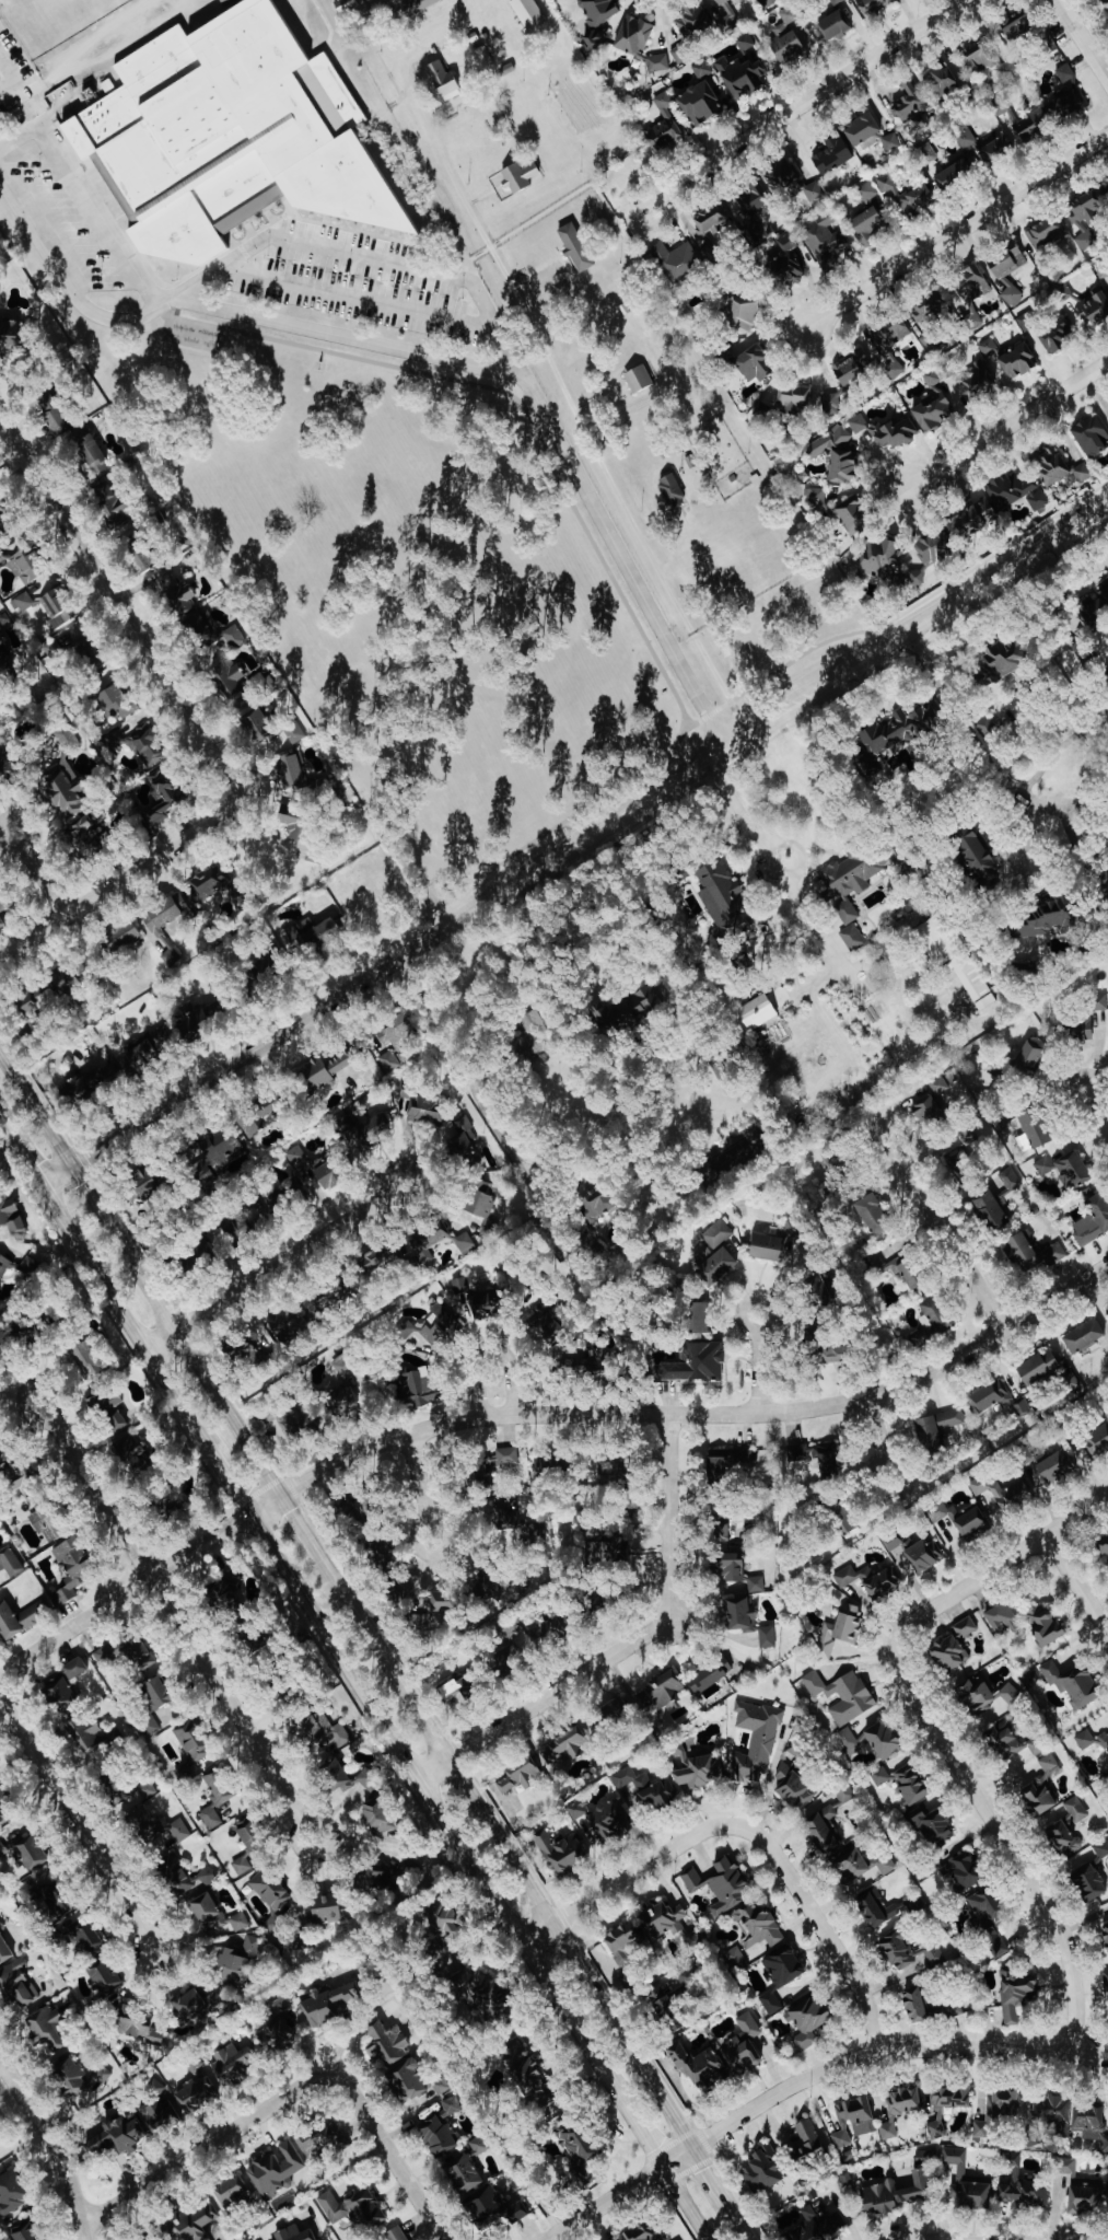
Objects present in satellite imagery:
building: (225, 1)
building: (837, 2)
building: (1106, 2)
building: (345, 4)
building: (873, 5)
building: (416, 7)
building: (529, 13)
building: (724, 14)
building: (789, 15)
building: (597, 18)
building: (693, 20)
building: (1018, 25)
building: (835, 26)
building: (634, 36)
road: (1082, 40)
building: (791, 42)
building: (746, 43)
building: (980, 56)
building: (658, 62)
building: (702, 69)
road: (12, 76)
building: (743, 77)
building: (942, 80)
building: (444, 81)
building: (910, 102)
building: (702, 103)
building: (1069, 104)
road: (794, 108)
building: (1034, 125)
building: (664, 126)
building: (863, 128)
building: (226, 136)
building: (966, 137)
building: (891, 142)
building: (998, 150)
building: (925, 152)
building: (833, 155)
building: (956, 175)
building: (521, 176)
building: (783, 178)
building: (888, 187)
building: (1106, 188)
building: (814, 191)
building: (868, 191)
road: (85, 194)
building: (917, 199)
building: (751, 204)
building: (1086, 217)
building: (712, 221)
building: (868, 227)
road: (957, 231)
building: (1046, 233)
building: (826, 240)
building: (576, 247)
road: (365, 257)
building: (676, 262)
building: (798, 267)
building: (1007, 282)
building: (971, 294)
road: (358, 298)
building: (931, 310)
building: (1095, 310)
building: (743, 315)
building: (1027, 321)
crop: (602, 325)
building: (12, 337)
building: (1058, 337)
building: (931, 339)
building: (891, 346)
building: (989, 348)
road: (429, 356)
building: (1018, 361)
building: (755, 364)
building: (639, 379)
building: (975, 384)
building: (794, 398)
building: (832, 403)
building: (934, 404)
building: (57, 420)
road: (1007, 425)
building: (884, 432)
building: (1092, 436)
road: (591, 438)
building: (93, 455)
building: (840, 455)
building: (1059, 466)
building: (672, 489)
building: (1017, 492)
building: (818, 501)
building: (113, 507)
building: (853, 517)
building: (4, 520)
building: (973, 520)
building: (935, 547)
building: (144, 559)
building: (884, 560)
building: (30, 565)
road: (1072, 565)
building: (917, 578)
building: (179, 594)
building: (23, 602)
road: (118, 607)
building: (1096, 607)
building: (57, 608)
building: (5, 653)
building: (91, 655)
building: (1007, 659)
building: (229, 677)
building: (264, 683)
building: (116, 703)
building: (258, 723)
building: (987, 728)
building: (906, 730)
building: (294, 732)
road: (968, 736)
building: (67, 739)
building: (147, 746)
road: (1054, 752)
building: (8, 770)
building: (292, 770)
building: (315, 788)
building: (66, 790)
building: (163, 798)
road: (1083, 804)
road: (1026, 809)
road: (1064, 823)
building: (300, 835)
building: (88, 838)
road: (755, 838)
road: (574, 843)
road: (798, 848)
road: (1015, 850)
building: (978, 855)
road: (40, 873)
road: (750, 879)
road: (118, 880)
building: (850, 881)
building: (209, 883)
road: (1013, 884)
road: (1024, 889)
building: (723, 898)
building: (2, 908)
building: (1046, 921)
building: (166, 925)
road: (825, 925)
road: (777, 932)
building: (314, 933)
building: (124, 937)
building: (853, 938)
road: (825, 945)
building: (955, 962)
road: (871, 968)
road: (918, 972)
road: (913, 980)
building: (68, 984)
building: (36, 1003)
building: (203, 1009)
building: (758, 1012)
building: (82, 1015)
building: (1095, 1019)
building: (536, 1032)
building: (394, 1035)
building: (164, 1036)
building: (1031, 1053)
building: (140, 1057)
building: (390, 1061)
building: (327, 1068)
building: (94, 1082)
building: (940, 1086)
road: (474, 1092)
building: (269, 1106)
building: (424, 1106)
building: (928, 1110)
road: (1095, 1112)
building: (249, 1123)
building: (364, 1131)
building: (1034, 1131)
building: (459, 1135)
building: (217, 1151)
road: (20, 1152)
building: (836, 1162)
building: (319, 1168)
building: (963, 1170)
building: (1066, 1170)
building: (1011, 1177)
building: (143, 1184)
building: (485, 1198)
building: (599, 1203)
building: (991, 1210)
building: (10, 1215)
building: (877, 1219)
building: (1093, 1221)
road: (936, 1226)
building: (237, 1227)
building: (488, 1227)
building: (792, 1230)
building: (719, 1233)
building: (465, 1243)
building: (423, 1245)
building: (769, 1247)
building: (1036, 1252)
building: (381, 1256)
building: (2, 1262)
road: (276, 1264)
building: (30, 1265)
building: (718, 1267)
building: (899, 1268)
road: (142, 1270)
building: (335, 1293)
building: (481, 1297)
road: (760, 1298)
building: (937, 1311)
building: (697, 1318)
road: (125, 1319)
building: (544, 1322)
building: (288, 1324)
building: (433, 1325)
building: (1085, 1336)
road: (490, 1349)
building: (838, 1354)
building: (250, 1355)
building: (346, 1362)
building: (698, 1362)
building: (583, 1363)
building: (1040, 1367)
road: (759, 1374)
building: (1072, 1381)
building: (423, 1386)
building: (991, 1397)
building: (342, 1400)
building: (1022, 1408)
building: (109, 1412)
road: (537, 1414)
building: (285, 1423)
building: (938, 1427)
road: (875, 1429)
building: (1098, 1441)
building: (140, 1456)
building: (503, 1459)
building: (819, 1459)
road: (882, 1461)
building: (732, 1465)
building: (539, 1466)
building: (1058, 1466)
building: (615, 1472)
road: (418, 1477)
road: (229, 1485)
building: (1003, 1492)
building: (368, 1508)
building: (173, 1509)
building: (944, 1512)
building: (843, 1519)
building: (48, 1521)
building: (521, 1521)
road: (428, 1523)
building: (972, 1523)
road: (301, 1524)
building: (723, 1531)
building: (1105, 1543)
building: (610, 1548)
building: (900, 1550)
building: (384, 1555)
building: (925, 1555)
building: (11, 1562)
road: (999, 1565)
building: (73, 1567)
building: (732, 1567)
building: (870, 1580)
road: (1077, 1583)
building: (756, 1585)
building: (481, 1586)
building: (230, 1591)
building: (439, 1605)
building: (739, 1613)
building: (20, 1618)
building: (1003, 1618)
road: (179, 1623)
building: (1045, 1625)
building: (966, 1627)
building: (841, 1630)
building: (244, 1632)
building: (544, 1634)
building: (768, 1637)
road: (630, 1645)
building: (263, 1646)
building: (127, 1651)
building: (950, 1653)
building: (510, 1659)
building: (75, 1668)
building: (710, 1675)
building: (1073, 1683)
building: (462, 1687)
building: (662, 1692)
building: (159, 1693)
building: (60, 1694)
building: (843, 1695)
building: (617, 1710)
building: (151, 1723)
building: (327, 1734)
building: (88, 1739)
building: (1085, 1739)
building: (874, 1740)
building: (1105, 1741)
building: (756, 1742)
building: (1014, 1745)
building: (191, 1750)
building: (696, 1768)
building: (337, 1775)
building: (517, 1777)
building: (880, 1777)
building: (369, 1780)
building: (795, 1783)
building: (911, 1785)
building: (220, 1787)
building: (645, 1788)
building: (1042, 1788)
building: (129, 1789)
building: (845, 1797)
building: (5, 1807)
building: (579, 1809)
building: (1075, 1811)
road: (440, 1813)
building: (378, 1815)
building: (210, 1818)
building: (609, 1821)
road: (304, 1824)
building: (933, 1826)
road: (77, 1827)
building: (158, 1830)
building: (824, 1830)
building: (1064, 1837)
road: (1004, 1841)
building: (248, 1843)
building: (2, 1850)
building: (562, 1850)
road: (506, 1852)
building: (30, 1853)
building: (852, 1864)
building: (886, 1865)
building: (963, 1870)
building: (1093, 1875)
road: (631, 1877)
building: (381, 1879)
building: (191, 1882)
building: (723, 1887)
building: (27, 1891)
building: (270, 1894)
building: (57, 1905)
building: (880, 1908)
building: (989, 1908)
building: (329, 1911)
building: (209, 1912)
building: (666, 1919)
building: (240, 1922)
building: (759, 1926)
building: (446, 1927)
building: (1106, 1930)
road: (825, 1934)
building: (90, 1941)
building: (996, 1945)
building: (622, 1949)
building: (4, 1950)
building: (909, 1951)
building: (737, 1959)
building: (238, 1961)
building: (785, 1965)
building: (1106, 1978)
building: (105, 1980)
building: (18, 1984)
building: (485, 1992)
building: (1017, 1995)
building: (675, 1999)
building: (772, 2003)
building: (198, 2005)
building: (330, 2005)
building: (928, 2006)
building: (809, 2020)
building: (138, 2027)
building: (48, 2028)
building: (277, 2029)
building: (387, 2044)
building: (744, 2046)
building: (233, 2064)
building: (699, 2065)
building: (104, 2075)
building: (528, 2075)
building: (71, 2076)
road: (808, 2078)
building: (409, 2080)
building: (442, 2086)
building: (156, 2088)
building: (196, 2096)
building: (947, 2105)
building: (451, 2108)
building: (899, 2109)
building: (1052, 2111)
building: (998, 2112)
building: (161, 2116)
building: (854, 2121)
building: (1092, 2123)
building: (119, 2136)
building: (438, 2137)
road: (648, 2139)
building: (809, 2140)
road: (210, 2145)
road: (53, 2146)
building: (478, 2146)
building: (582, 2146)
road: (394, 2164)
building: (276, 2170)
building: (765, 2170)
building: (1072, 2172)
building: (961, 2173)
road: (715, 2181)
building: (12, 2193)
building: (233, 2193)
building: (481, 2193)
building: (897, 2194)
building: (1025, 2195)
building: (1107, 2197)
building: (1085, 2201)
road: (687, 2204)
building: (353, 2208)
building: (193, 2222)
building: (820, 2225)
road: (744, 2227)
building: (24, 2231)
building: (645, 2232)
building: (295, 2235)
building: (396, 2235)
building: (152, 2239)

